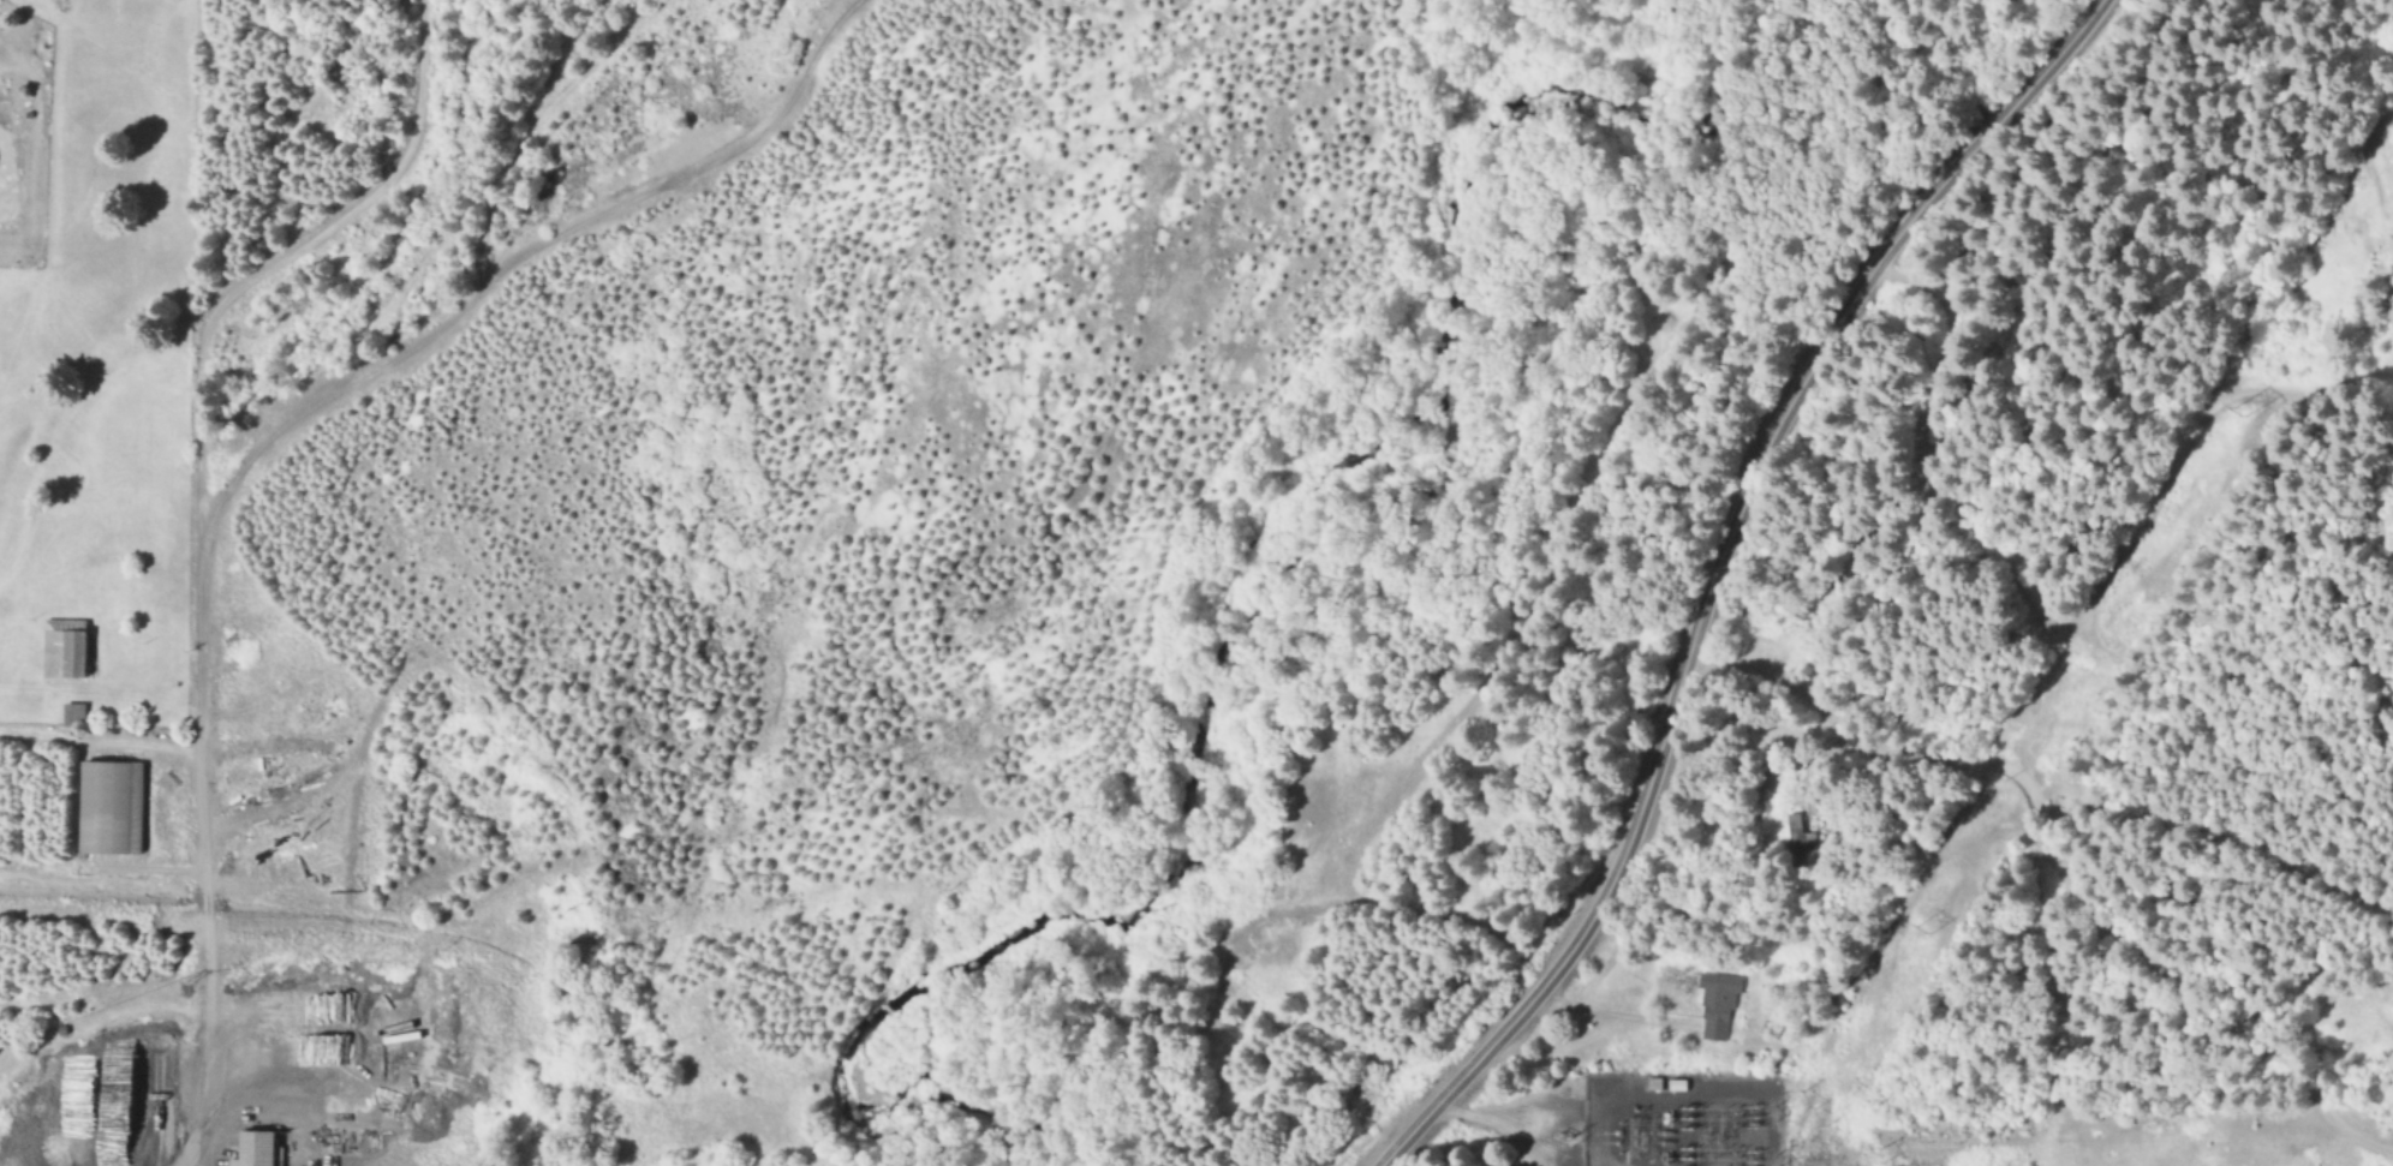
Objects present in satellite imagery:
road: (276, 263)
power tower: (2231, 409)
road: (274, 438)
road: (1714, 568)
building: (65, 650)
building: (72, 716)
building: (106, 809)
power tower: (1916, 931)
building: (1714, 1007)
power tower: (1806, 1102)
power substation: (1681, 1120)
building: (258, 1149)
power tower: (1879, 1162)

